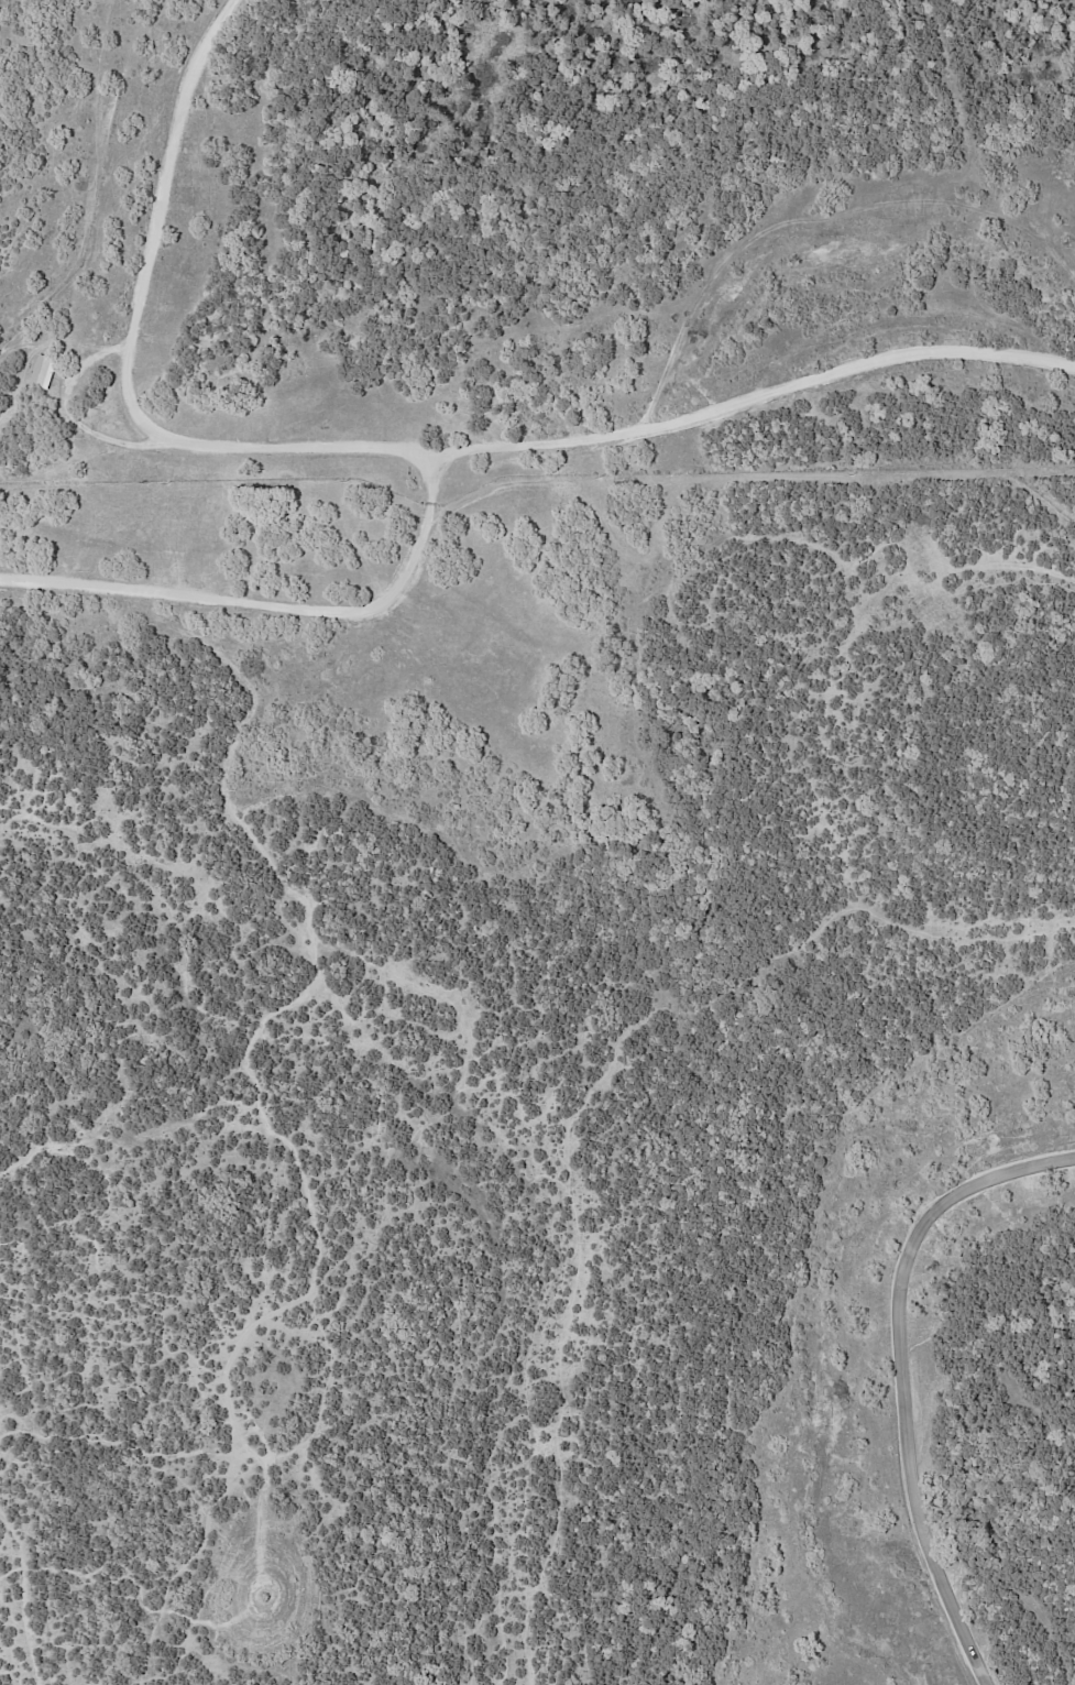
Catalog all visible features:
building: (42, 371)
road: (391, 449)
road: (275, 608)
road: (902, 1375)

